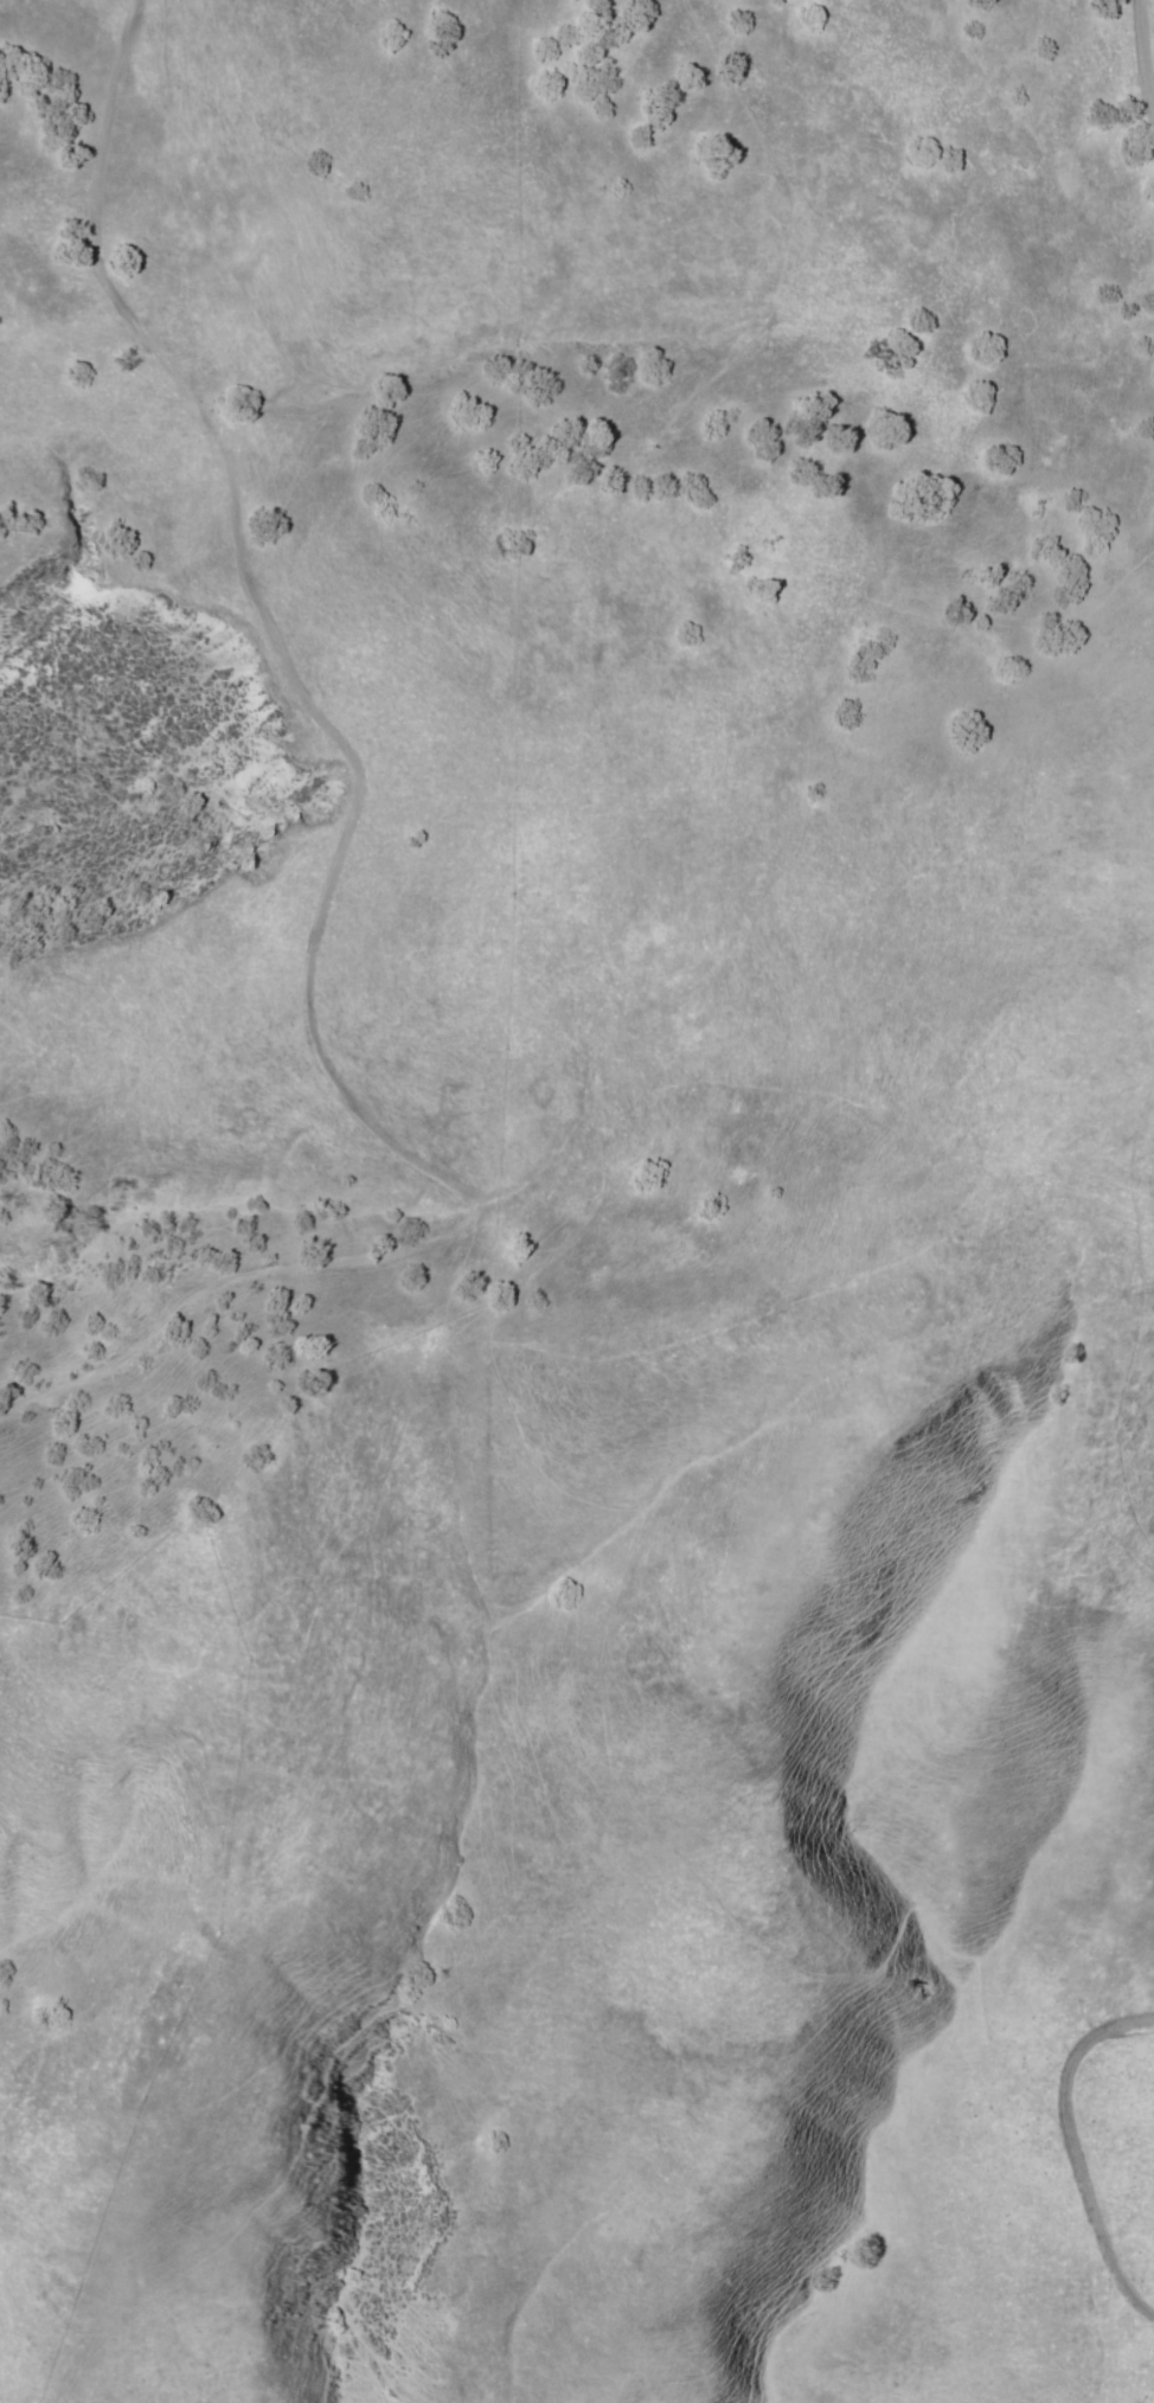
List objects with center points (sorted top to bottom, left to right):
road: (1146, 45)
road: (1079, 2144)

